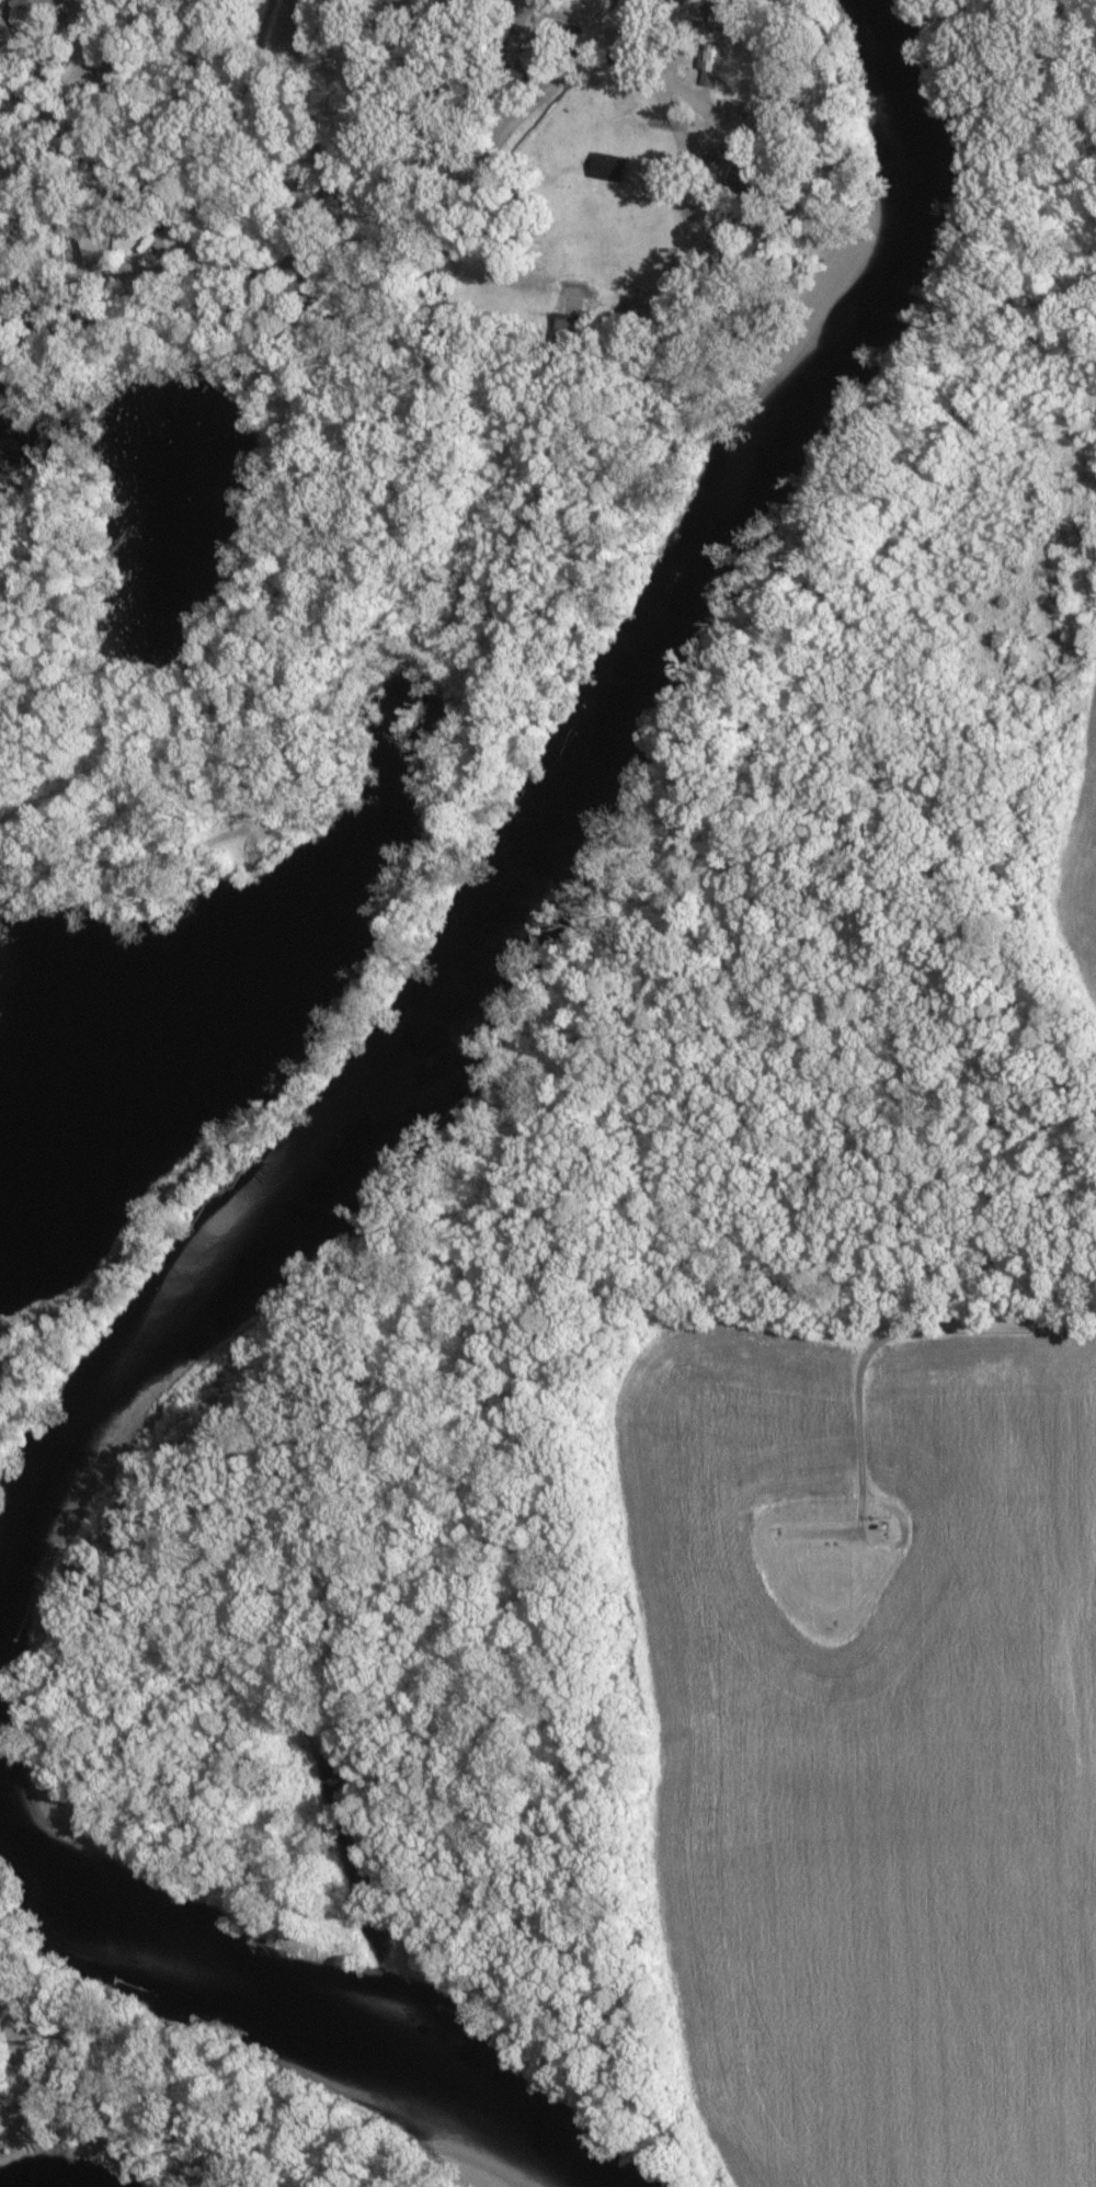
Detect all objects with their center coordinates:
road: (594, 11)
road: (663, 34)
building: (537, 62)
building: (706, 68)
road: (651, 81)
road: (48, 110)
building: (608, 168)
road: (294, 262)
road: (113, 275)
river: (546, 846)
river: (284, 2001)

